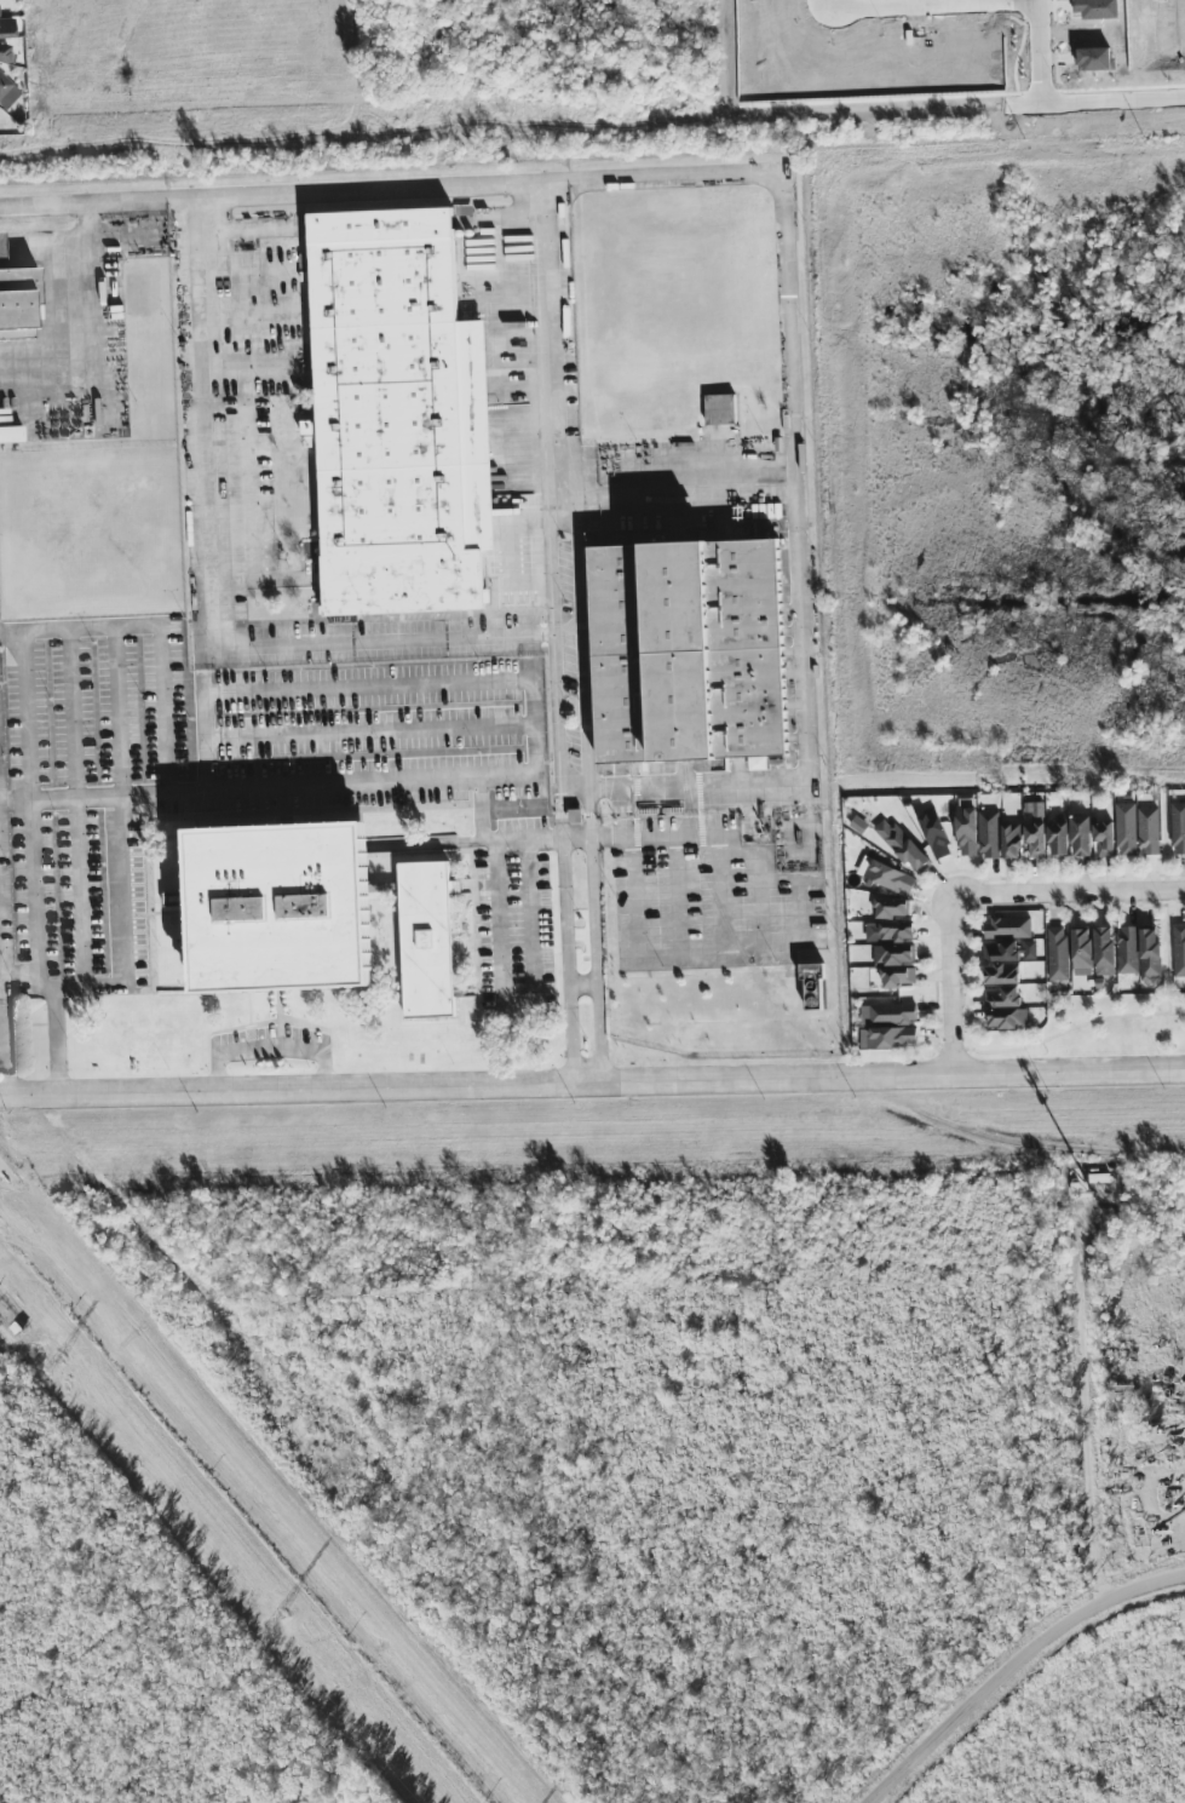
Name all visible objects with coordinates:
road: (1036, 2)
road: (930, 10)
building: (6, 28)
road: (1040, 57)
building: (6, 80)
road: (1114, 104)
road: (259, 195)
building: (16, 299)
road: (77, 329)
road: (554, 352)
road: (259, 384)
building: (720, 408)
building: (398, 415)
road: (208, 423)
building: (10, 433)
road: (799, 449)
road: (681, 488)
road: (553, 521)
road: (12, 638)
road: (399, 642)
road: (552, 647)
building: (689, 650)
road: (582, 653)
road: (530, 658)
road: (25, 662)
road: (201, 664)
road: (447, 684)
road: (115, 711)
road: (370, 731)
road: (203, 742)
parking lot: (230, 757)
building: (720, 764)
road: (562, 773)
road: (577, 786)
road: (238, 788)
road: (76, 808)
building: (858, 823)
building: (1178, 827)
building: (1126, 828)
building: (966, 829)
building: (1147, 831)
road: (650, 832)
building: (934, 833)
building: (989, 834)
building: (1080, 834)
building: (1058, 836)
road: (495, 837)
building: (1103, 838)
building: (1035, 839)
building: (1011, 840)
building: (901, 844)
building: (886, 874)
road: (1066, 888)
road: (720, 896)
road: (677, 897)
building: (174, 898)
building: (281, 907)
building: (891, 907)
road: (764, 915)
road: (123, 924)
building: (1007, 926)
building: (888, 930)
road: (573, 934)
road: (598, 934)
building: (426, 938)
building: (1128, 948)
building: (1179, 948)
building: (1029, 949)
building: (1104, 949)
building: (1001, 951)
building: (1081, 952)
building: (1057, 953)
building: (1150, 953)
building: (893, 954)
road: (741, 960)
building: (1001, 974)
building: (898, 976)
road: (949, 982)
building: (811, 986)
road: (30, 988)
building: (1001, 997)
road: (518, 1005)
building: (887, 1012)
building: (1006, 1017)
building: (887, 1037)
road: (63, 1044)
road: (270, 1046)
road: (592, 1083)
power tower: (53, 1362)
road: (1093, 1400)
power tower: (272, 1621)
road: (1013, 1667)

